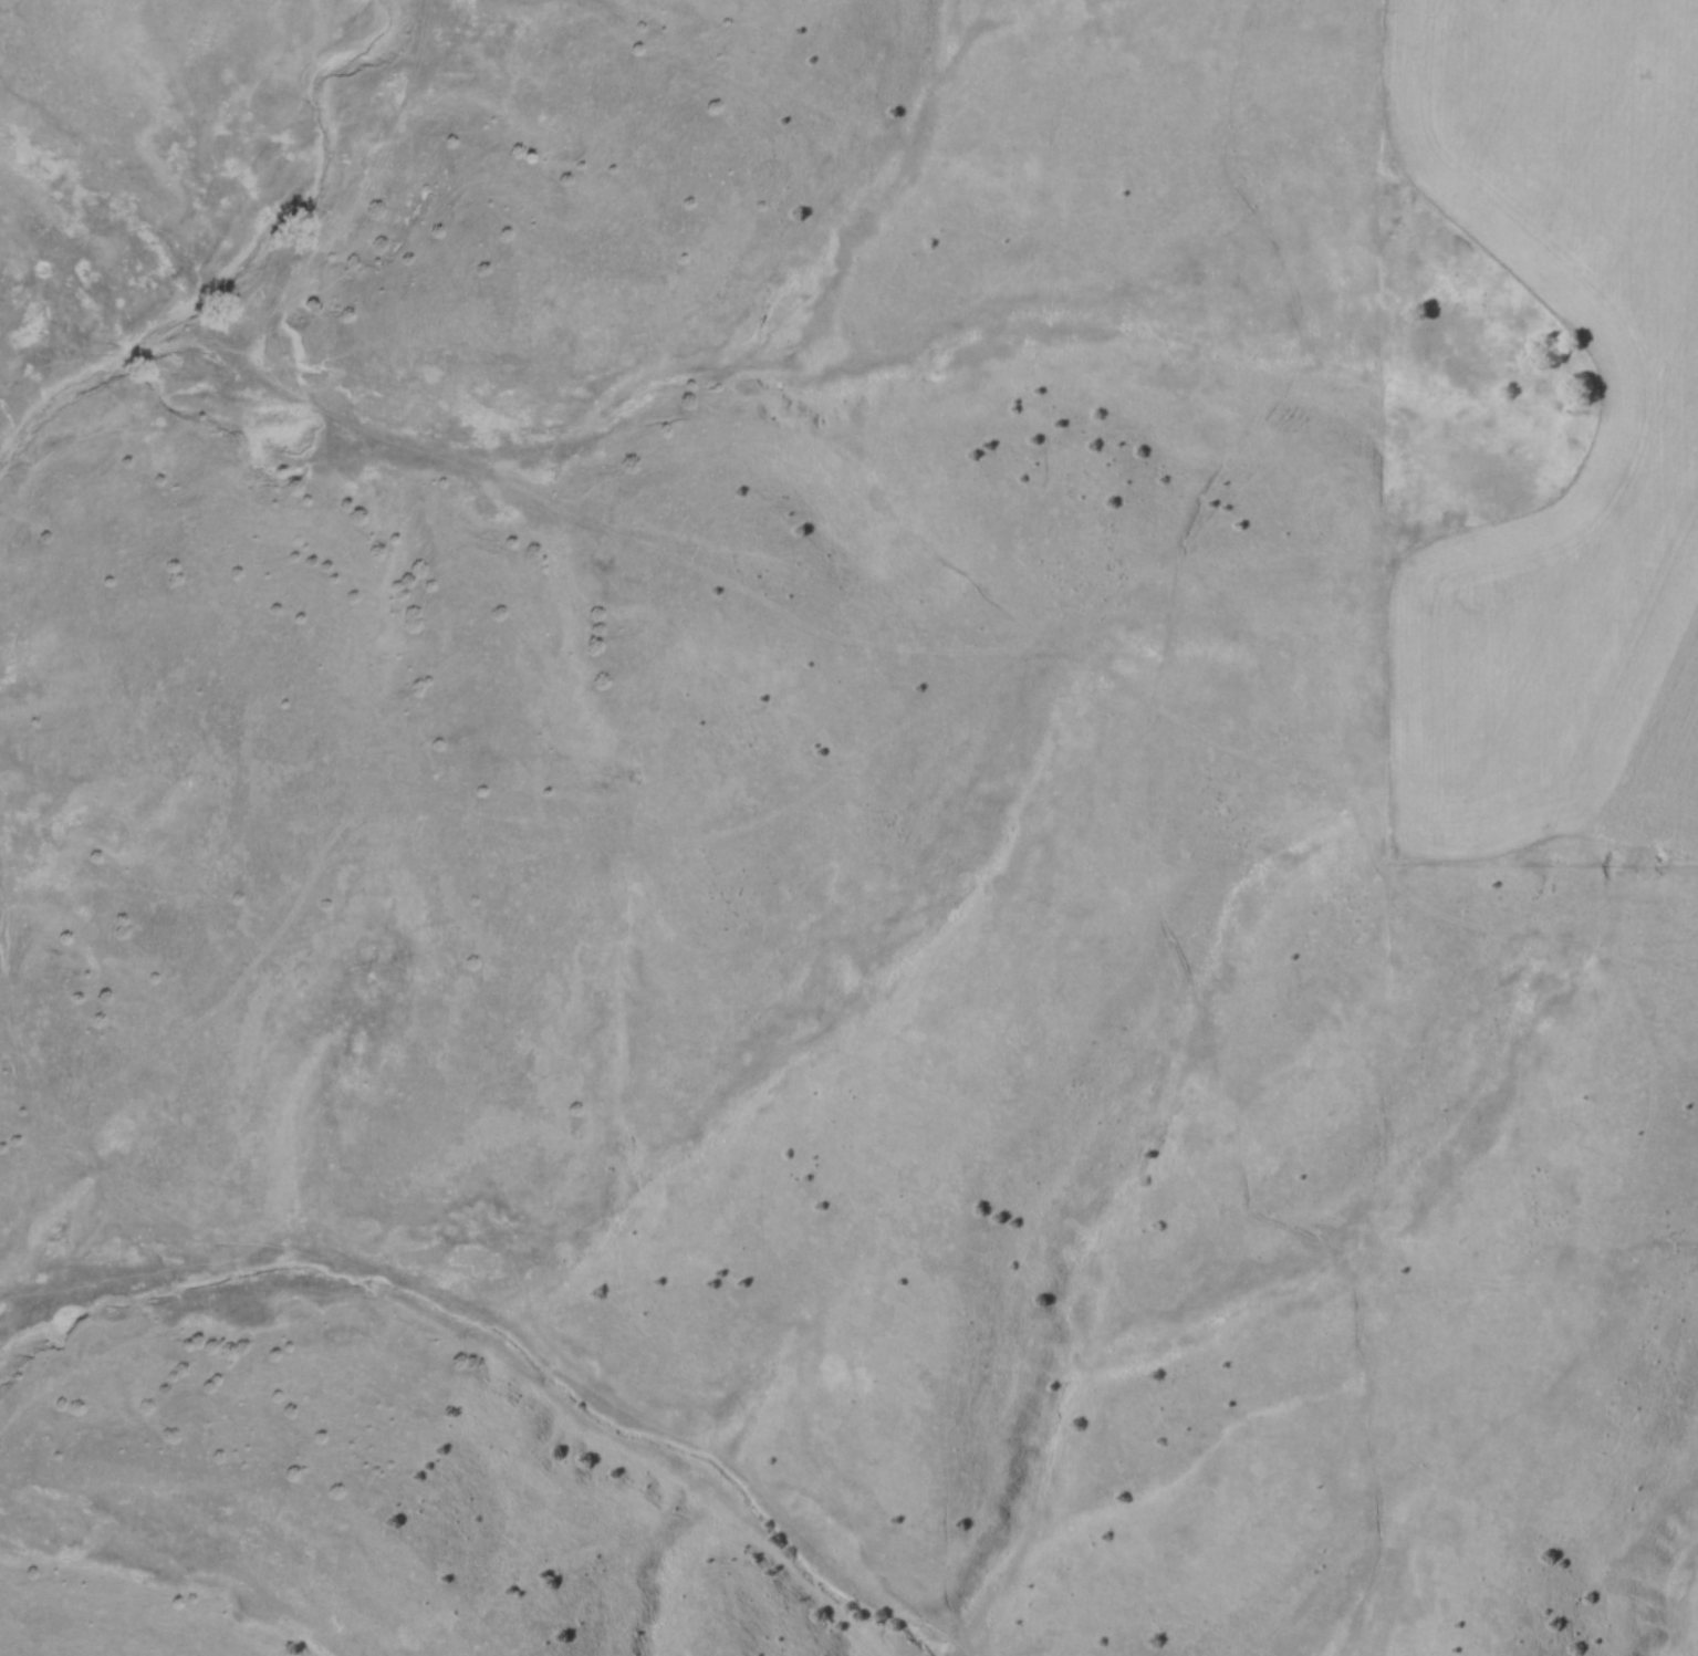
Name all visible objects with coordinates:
crop: (1652, 420)

